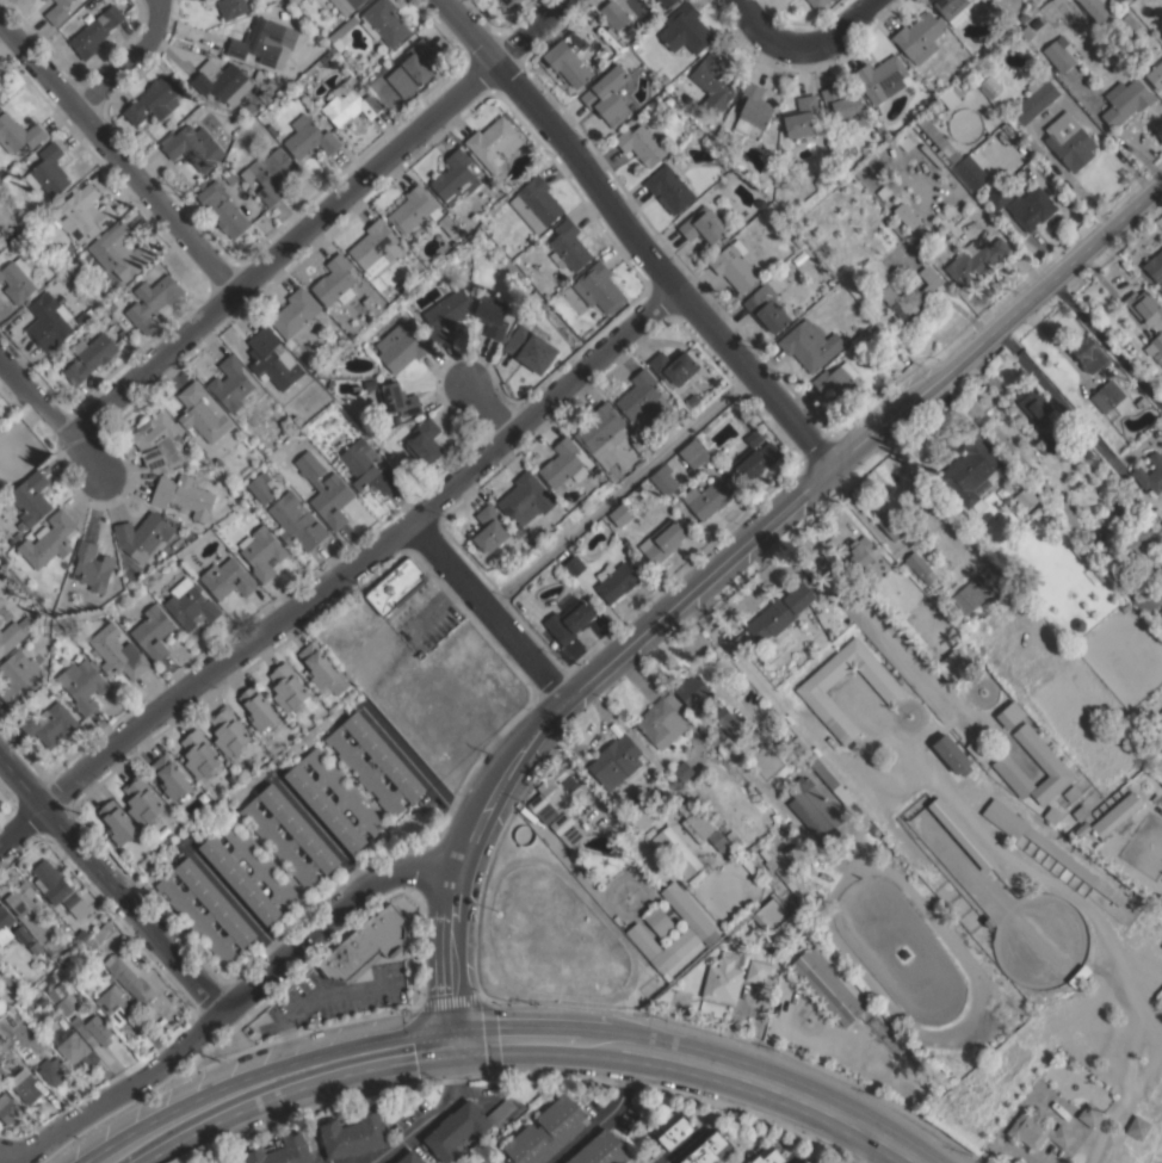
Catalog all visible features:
building: (43, 0)
building: (45, 0)
building: (1126, 1)
building: (509, 2)
building: (817, 2)
building: (347, 5)
building: (661, 5)
building: (230, 8)
building: (1098, 8)
building: (952, 10)
building: (57, 12)
building: (283, 14)
building: (613, 14)
building: (1022, 17)
building: (384, 21)
road: (841, 25)
building: (685, 29)
building: (95, 31)
road: (767, 31)
building: (1027, 32)
building: (341, 33)
building: (919, 37)
building: (264, 42)
building: (633, 43)
building: (1059, 52)
road: (132, 61)
building: (416, 62)
building: (568, 67)
building: (313, 68)
building: (261, 75)
building: (1155, 75)
building: (880, 78)
building: (665, 79)
building: (221, 81)
building: (712, 82)
building: (989, 86)
building: (607, 95)
building: (154, 100)
building: (1126, 100)
building: (319, 101)
building: (1033, 101)
building: (348, 104)
building: (843, 107)
building: (752, 109)
building: (802, 117)
building: (272, 129)
building: (880, 129)
building: (18, 132)
building: (309, 137)
building: (901, 140)
building: (1069, 141)
building: (494, 142)
building: (641, 144)
building: (1034, 146)
building: (193, 147)
road: (116, 154)
building: (871, 162)
building: (727, 165)
building: (48, 171)
building: (876, 172)
building: (970, 172)
building: (224, 174)
building: (270, 174)
building: (455, 179)
building: (669, 186)
building: (999, 197)
building: (536, 202)
building: (222, 208)
building: (1032, 208)
building: (413, 209)
building: (81, 212)
building: (904, 215)
road: (321, 216)
building: (703, 224)
building: (537, 228)
building: (900, 230)
road: (631, 236)
building: (568, 246)
building: (375, 247)
building: (118, 250)
building: (975, 260)
building: (735, 265)
building: (1154, 266)
building: (18, 278)
building: (335, 280)
building: (598, 286)
building: (911, 293)
building: (152, 301)
building: (1144, 305)
building: (112, 307)
building: (766, 309)
building: (295, 311)
building: (445, 314)
building: (84, 315)
building: (494, 315)
building: (48, 320)
road: (997, 322)
building: (810, 344)
road: (1105, 344)
building: (531, 345)
building: (401, 346)
building: (1157, 347)
building: (1089, 353)
building: (89, 357)
building: (272, 359)
building: (673, 366)
building: (1108, 370)
building: (230, 383)
building: (840, 384)
building: (1160, 384)
road: (1053, 394)
building: (641, 395)
building: (397, 398)
building: (1138, 398)
building: (1111, 400)
building: (1033, 403)
building: (686, 404)
road: (494, 406)
road: (50, 410)
building: (202, 413)
building: (601, 427)
building: (157, 441)
building: (425, 441)
building: (1049, 441)
building: (637, 444)
building: (1118, 446)
building: (693, 453)
building: (755, 456)
building: (606, 458)
building: (217, 462)
building: (561, 462)
building: (367, 466)
building: (970, 472)
building: (1150, 472)
building: (665, 478)
building: (729, 483)
building: (261, 487)
building: (326, 490)
building: (1002, 490)
road: (618, 491)
building: (183, 495)
building: (31, 497)
building: (1024, 497)
building: (525, 499)
building: (709, 500)
building: (622, 514)
building: (1034, 518)
building: (296, 520)
building: (891, 521)
building: (489, 528)
building: (18, 534)
building: (143, 534)
building: (49, 539)
building: (1136, 539)
building: (662, 540)
building: (1076, 550)
building: (261, 551)
building: (855, 551)
building: (574, 565)
building: (916, 565)
building: (92, 567)
road: (340, 571)
building: (1093, 574)
building: (228, 579)
building: (616, 580)
building: (396, 586)
building: (968, 595)
building: (1, 602)
building: (190, 604)
building: (1123, 605)
road: (484, 610)
building: (778, 611)
building: (1161, 612)
building: (569, 619)
building: (0, 620)
building: (26, 623)
building: (929, 626)
building: (153, 631)
building: (10, 637)
building: (117, 652)
road: (604, 661)
building: (956, 663)
building: (322, 668)
building: (19, 675)
building: (82, 683)
building: (289, 687)
building: (688, 688)
building: (808, 689)
building: (258, 707)
building: (1009, 714)
building: (1160, 714)
building: (724, 720)
building: (49, 723)
building: (659, 723)
building: (228, 731)
building: (1155, 735)
building: (199, 754)
building: (951, 754)
building: (388, 760)
building: (616, 761)
building: (1056, 769)
road: (420, 771)
building: (681, 771)
building: (826, 774)
building: (171, 775)
building: (1070, 792)
building: (555, 794)
building: (317, 799)
building: (142, 802)
building: (815, 809)
building: (1080, 812)
building: (1115, 814)
building: (1051, 815)
building: (696, 818)
building: (117, 822)
building: (565, 828)
building: (1082, 828)
road: (320, 829)
building: (786, 831)
building: (959, 831)
building: (303, 833)
building: (733, 836)
building: (778, 836)
building: (718, 840)
building: (1045, 846)
building: (753, 847)
building: (676, 850)
building: (747, 865)
building: (231, 871)
building: (696, 876)
building: (789, 886)
building: (58, 887)
road: (111, 890)
building: (20, 898)
building: (218, 905)
building: (771, 914)
building: (659, 920)
building: (988, 921)
building: (5, 924)
building: (700, 929)
building: (21, 934)
building: (94, 938)
building: (364, 945)
building: (79, 953)
building: (681, 959)
building: (759, 970)
road: (449, 975)
building: (54, 976)
building: (130, 979)
building: (722, 980)
building: (44, 982)
building: (11, 983)
building: (826, 985)
building: (56, 991)
road: (311, 1000)
building: (4, 1003)
building: (68, 1003)
building: (115, 1004)
road: (229, 1008)
building: (97, 1032)
traffic signals: (457, 1039)
road: (518, 1039)
building: (73, 1048)
building: (52, 1070)
road: (280, 1076)
road: (756, 1078)
building: (25, 1089)
building: (8, 1108)
road: (431, 1109)
building: (501, 1111)
building: (1089, 1113)
road: (606, 1115)
building: (1137, 1125)
building: (1037, 1127)
building: (457, 1131)
building: (546, 1132)
building: (675, 1132)
building: (353, 1133)
road: (682, 1145)
building: (601, 1150)
building: (707, 1150)
road: (877, 1150)
building: (282, 1151)
building: (767, 1155)
building: (410, 1157)
road: (101, 1158)
road: (118, 1158)
building: (488, 1161)
road: (790, 1162)
building: (808, 1162)

